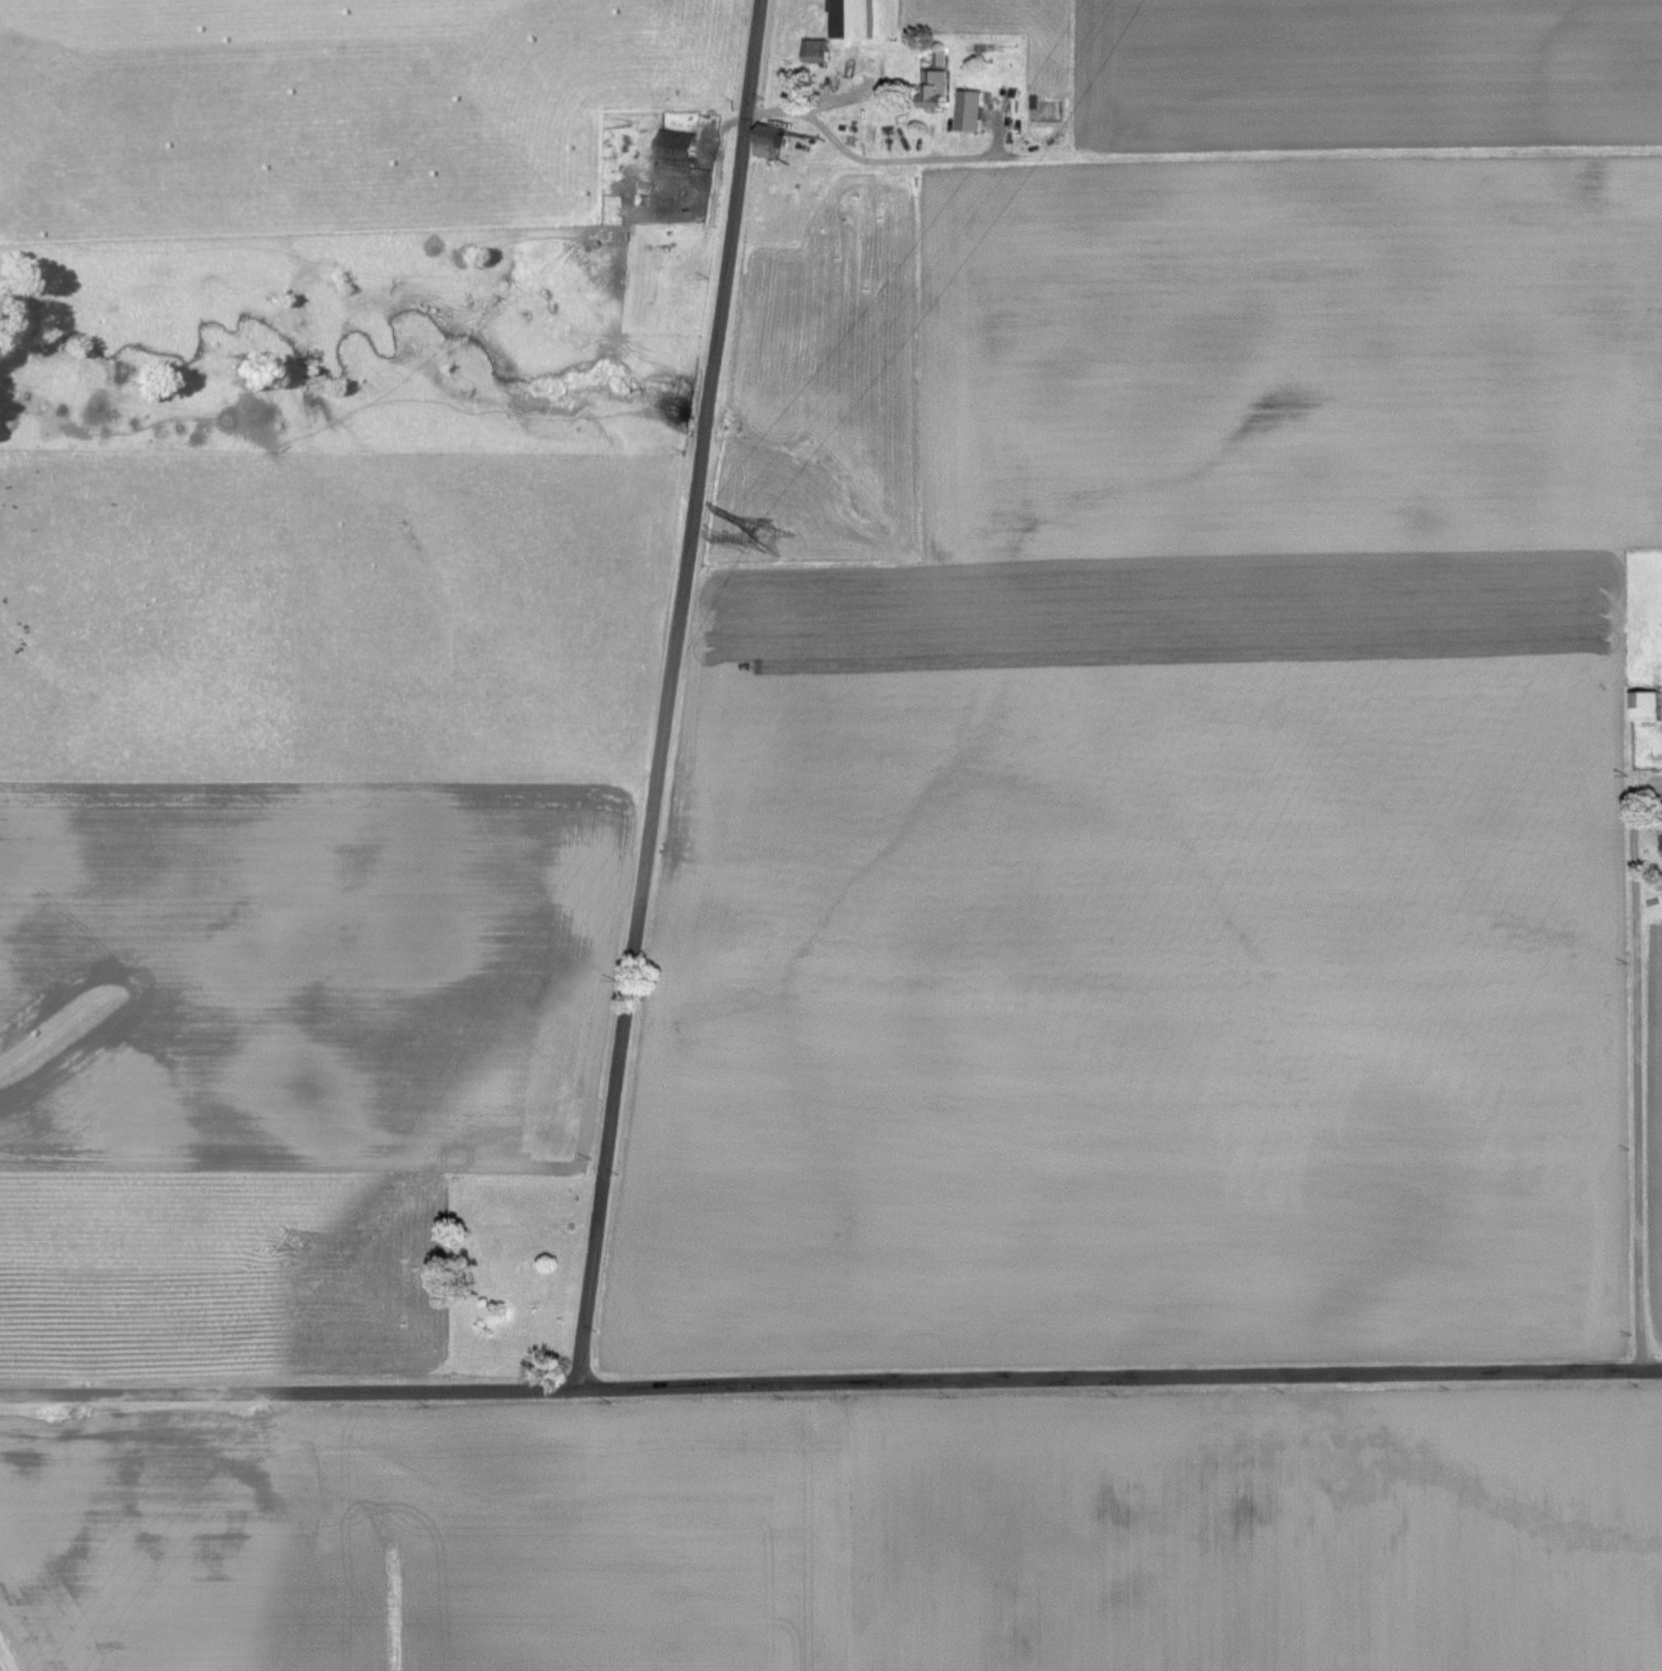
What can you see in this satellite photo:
building: (854, 20)
building: (817, 52)
building: (937, 90)
building: (972, 112)
building: (771, 142)
building: (678, 153)
power tower: (774, 539)
road: (671, 694)
building: (1648, 706)
road: (1636, 1074)
power tower: (279, 1249)
road: (1121, 1385)
road: (289, 1395)

